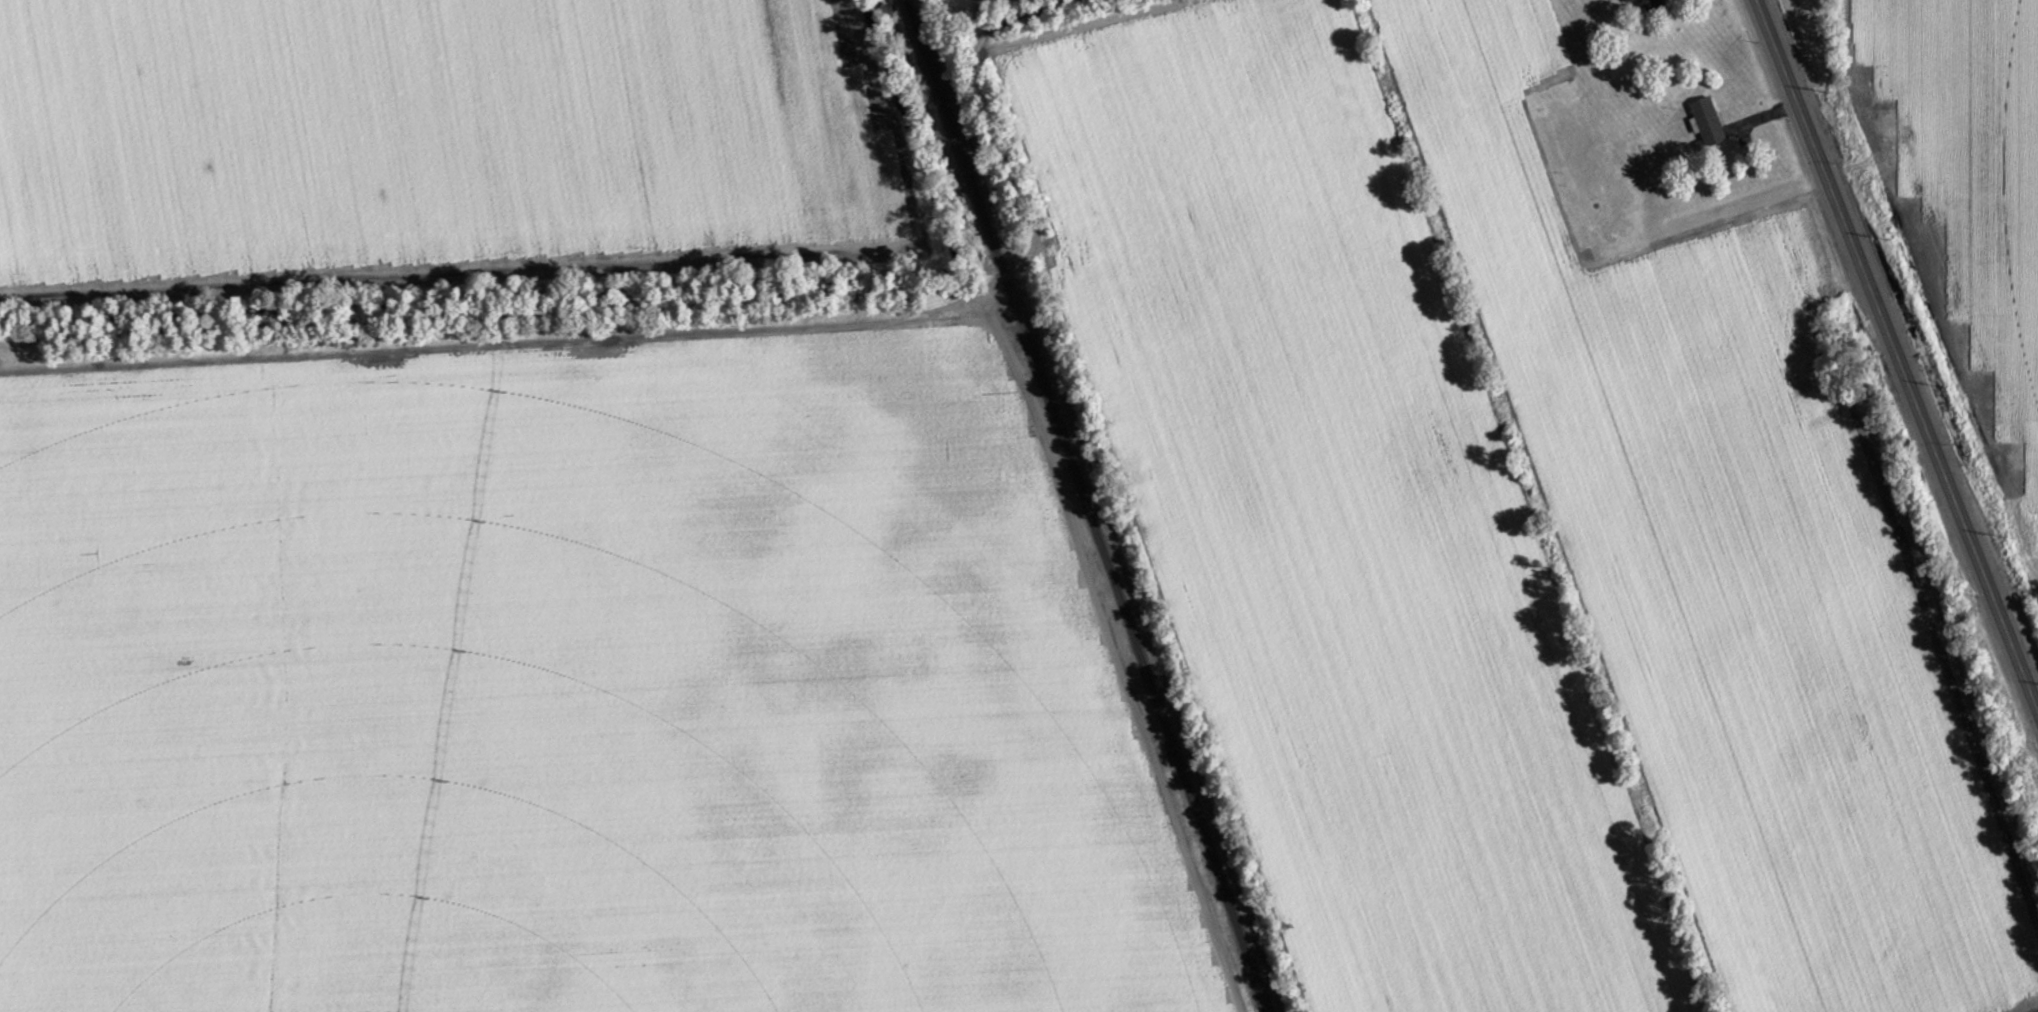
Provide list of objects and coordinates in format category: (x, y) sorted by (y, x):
building: (1633, 1)
building: (1655, 5)
building: (1707, 120)
road: (530, 341)
road: (1899, 353)
railway: (1090, 506)
road: (1115, 651)

